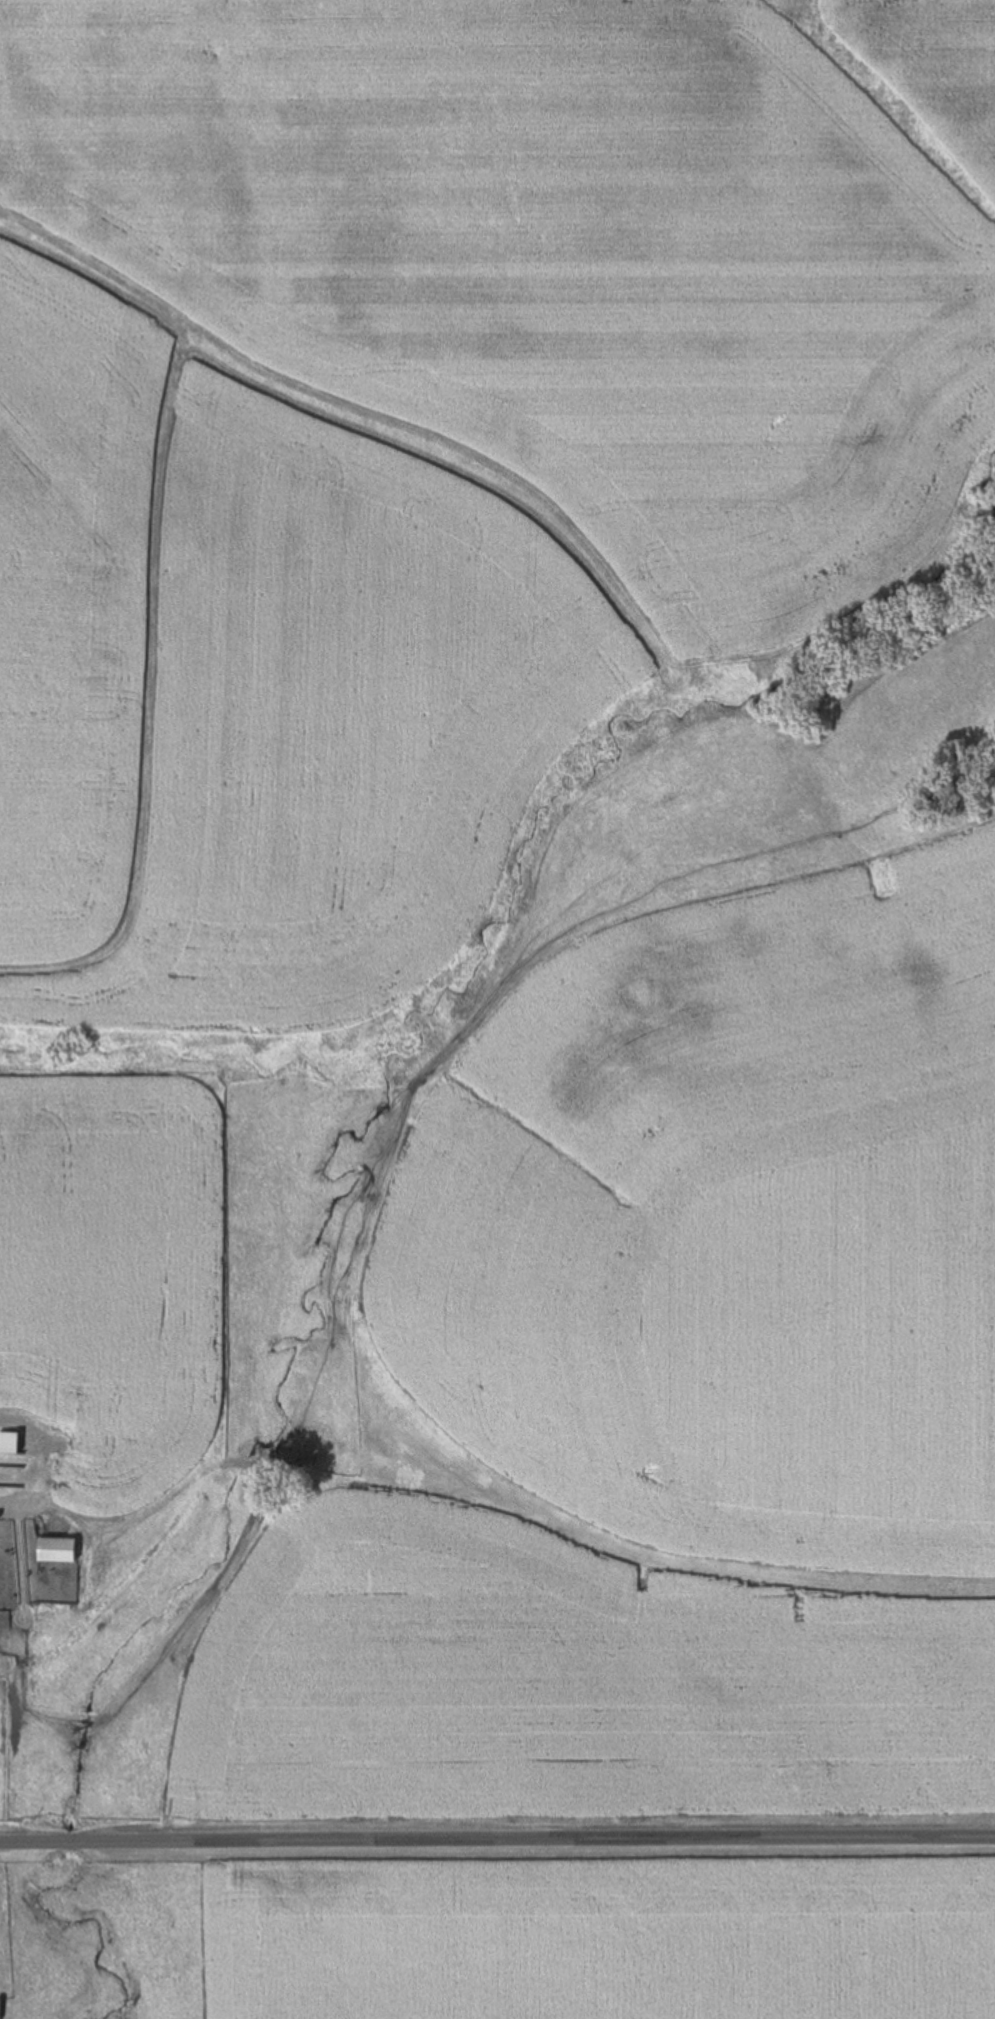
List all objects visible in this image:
building: (57, 1551)
road: (497, 1838)

